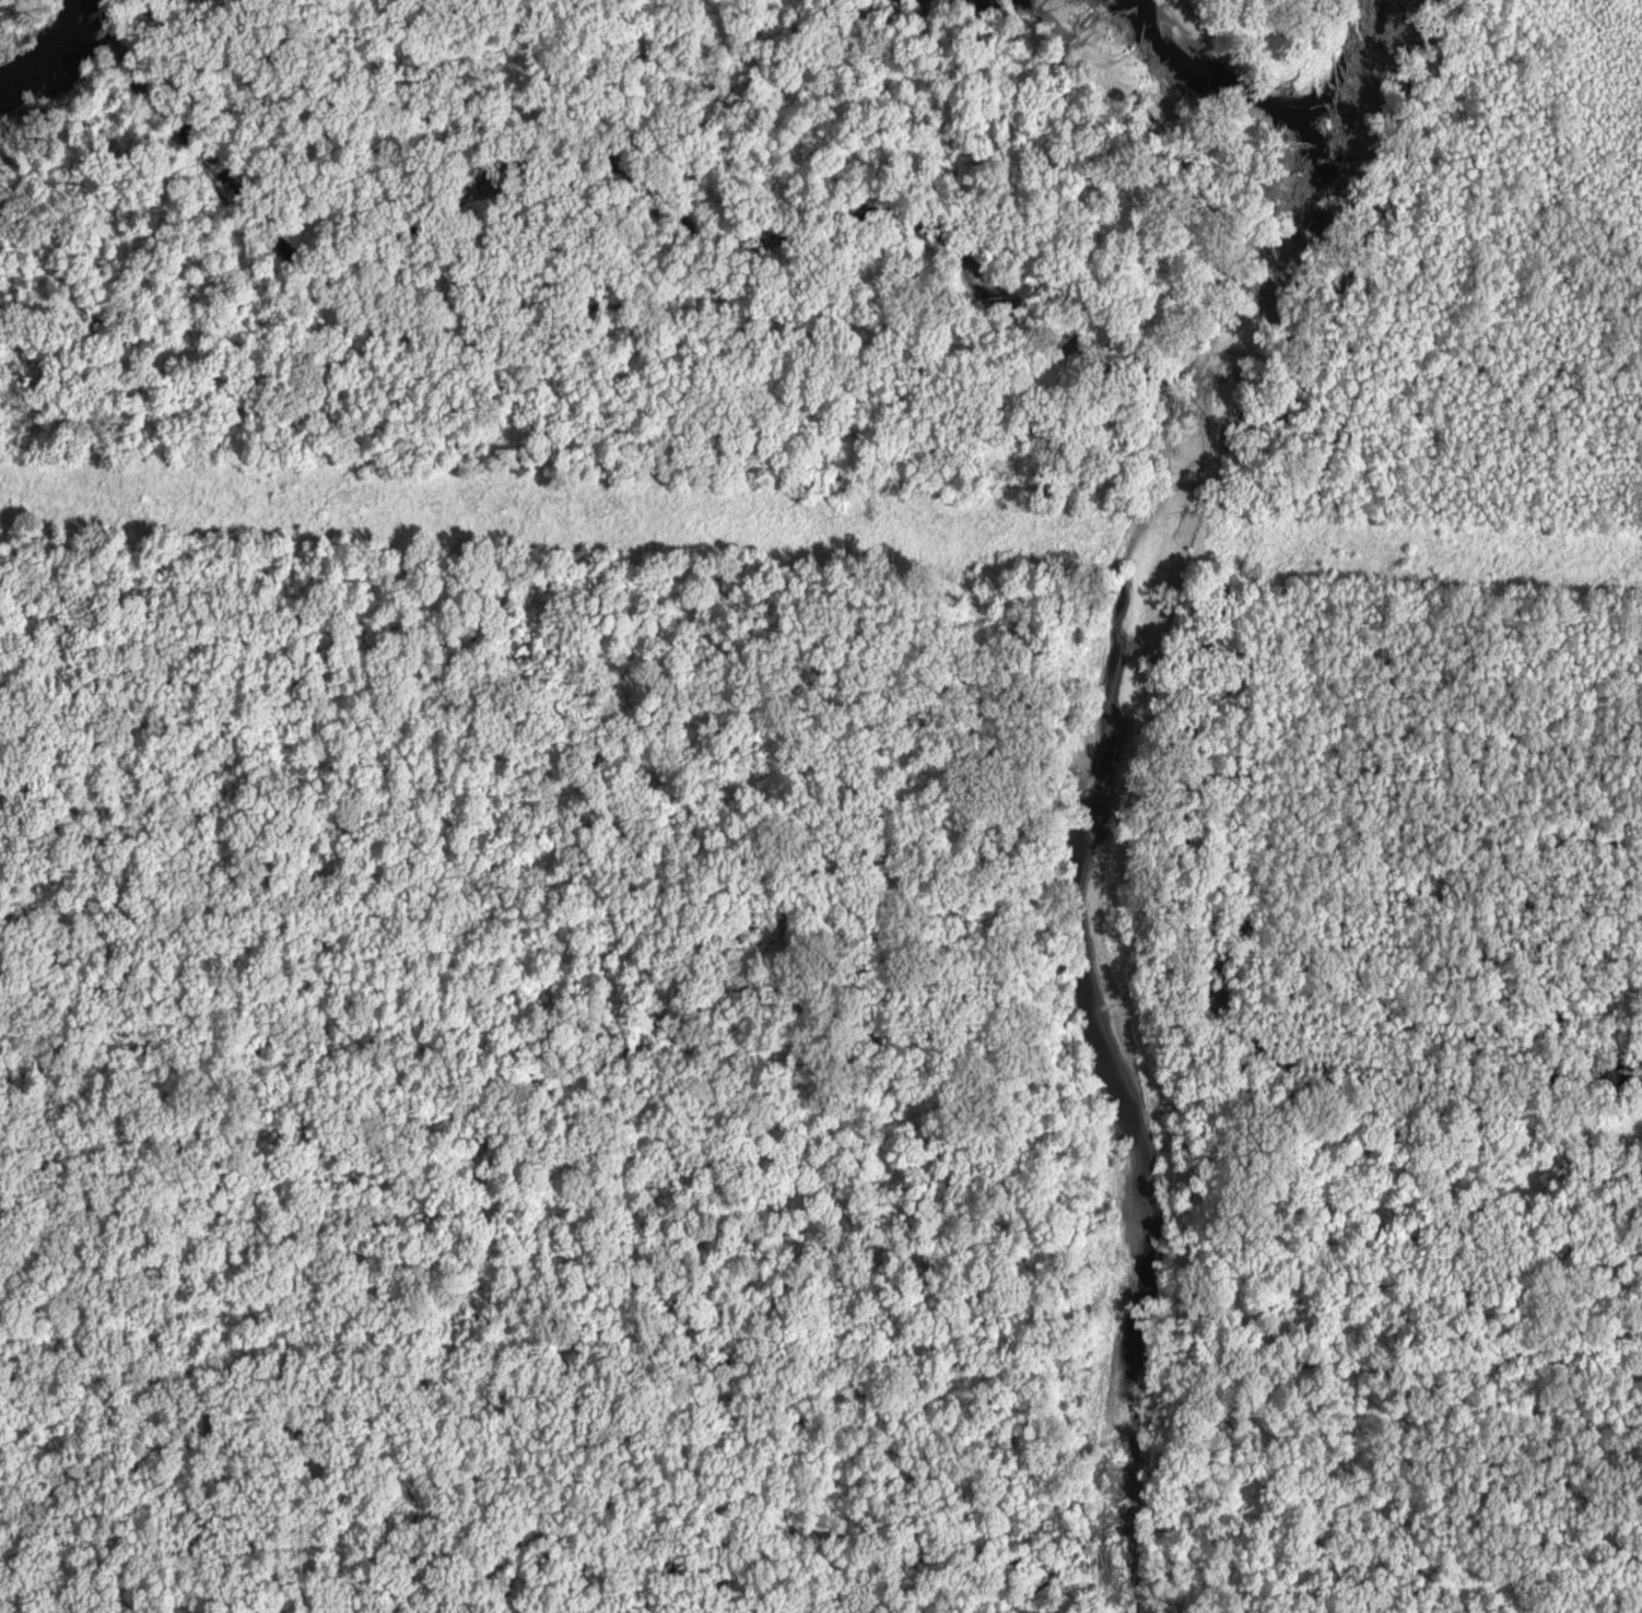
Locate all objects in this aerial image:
river: (1119, 785)

